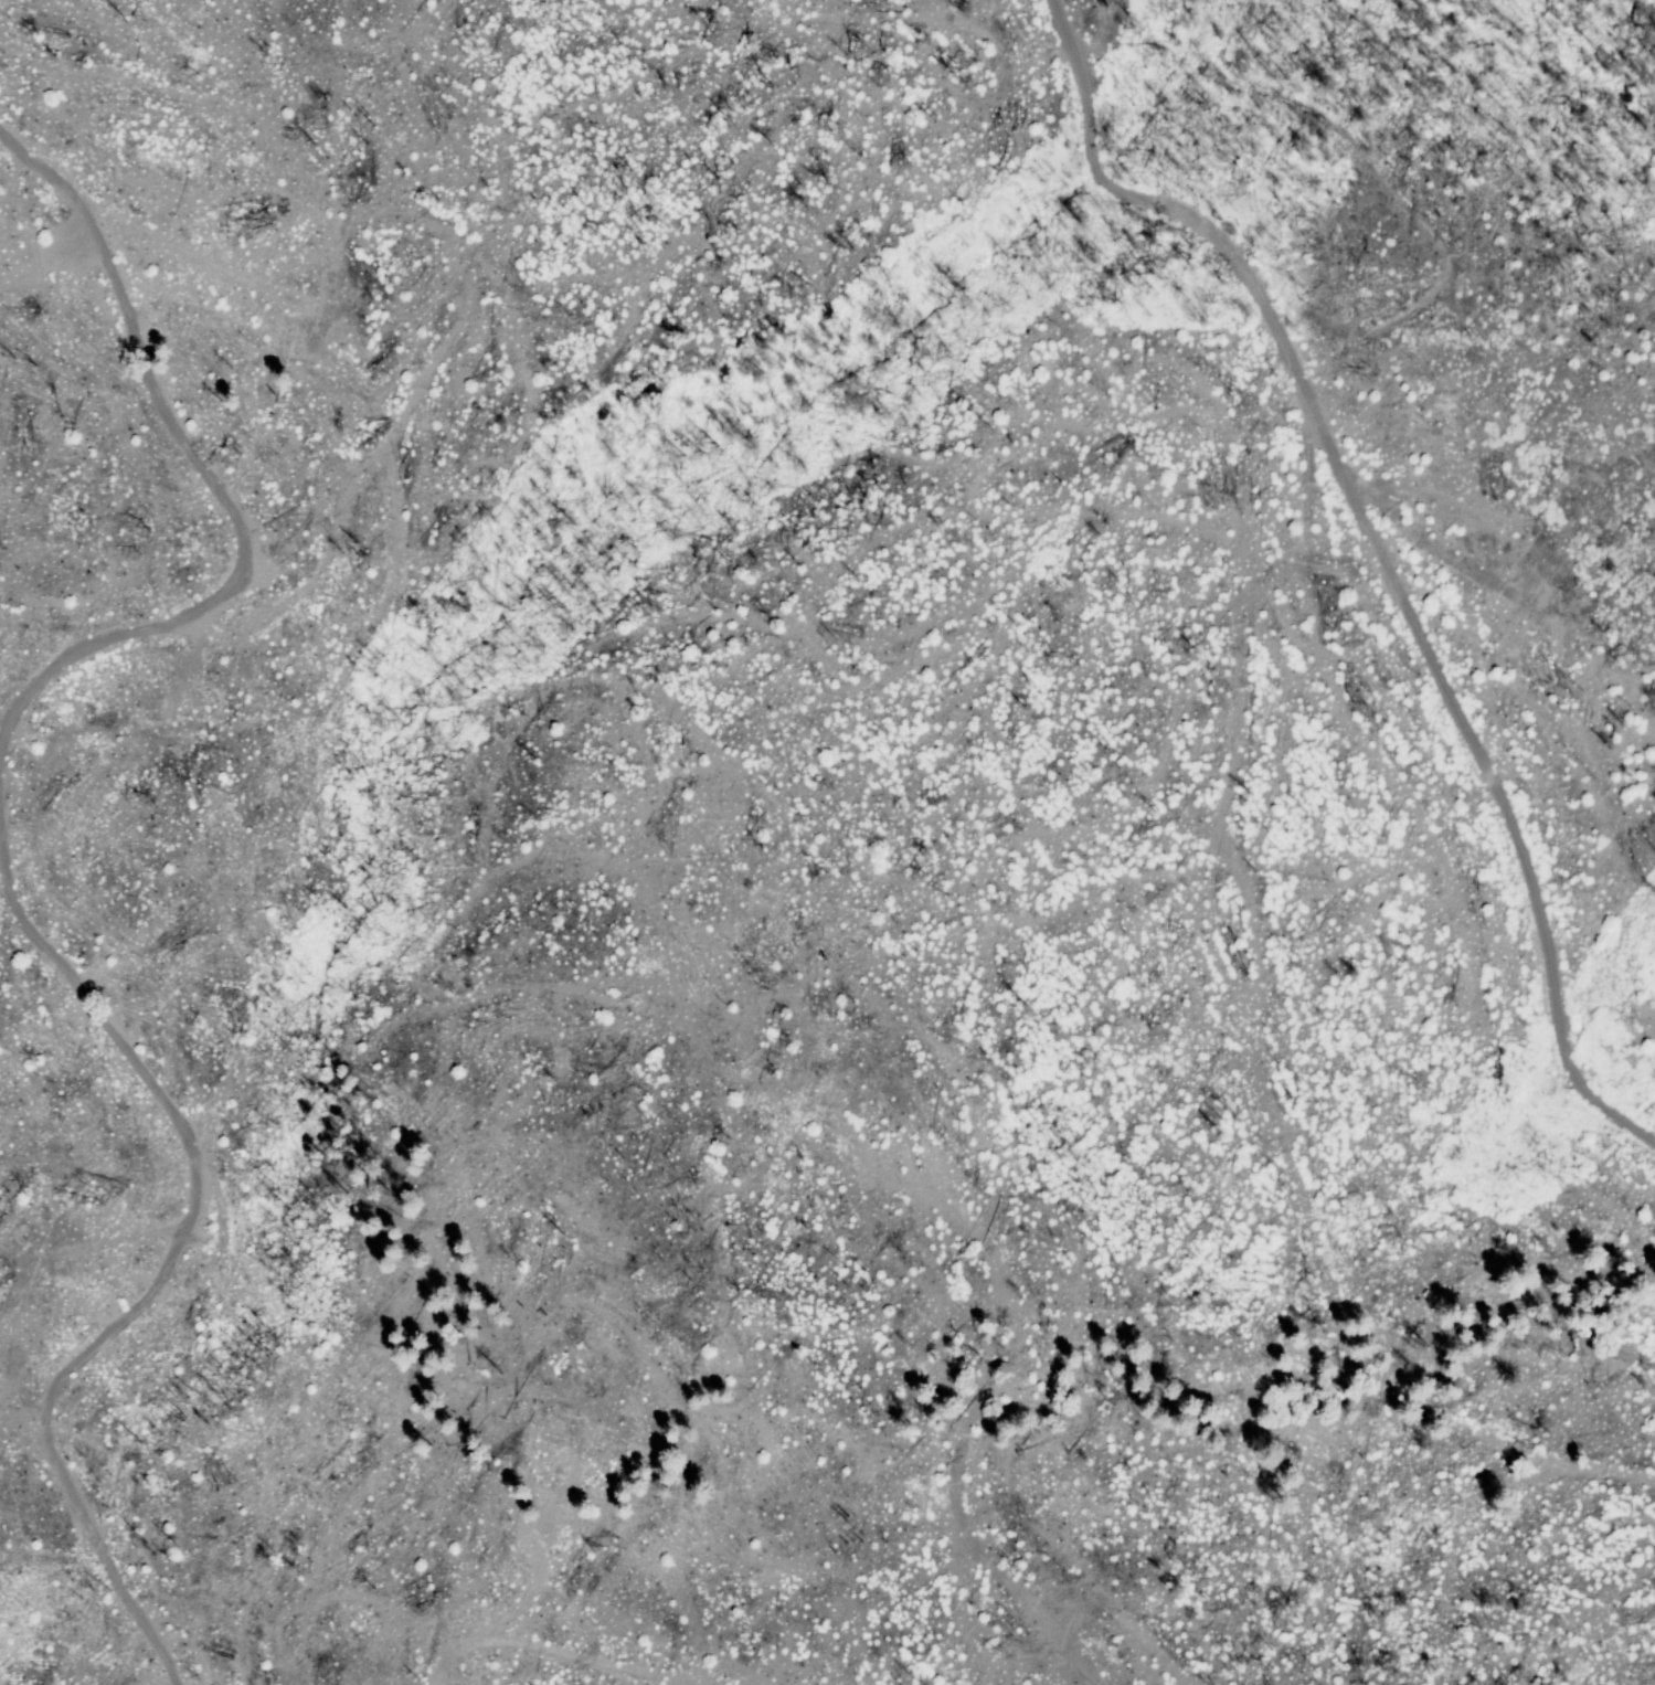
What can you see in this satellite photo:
road: (1377, 560)
road: (11, 870)

